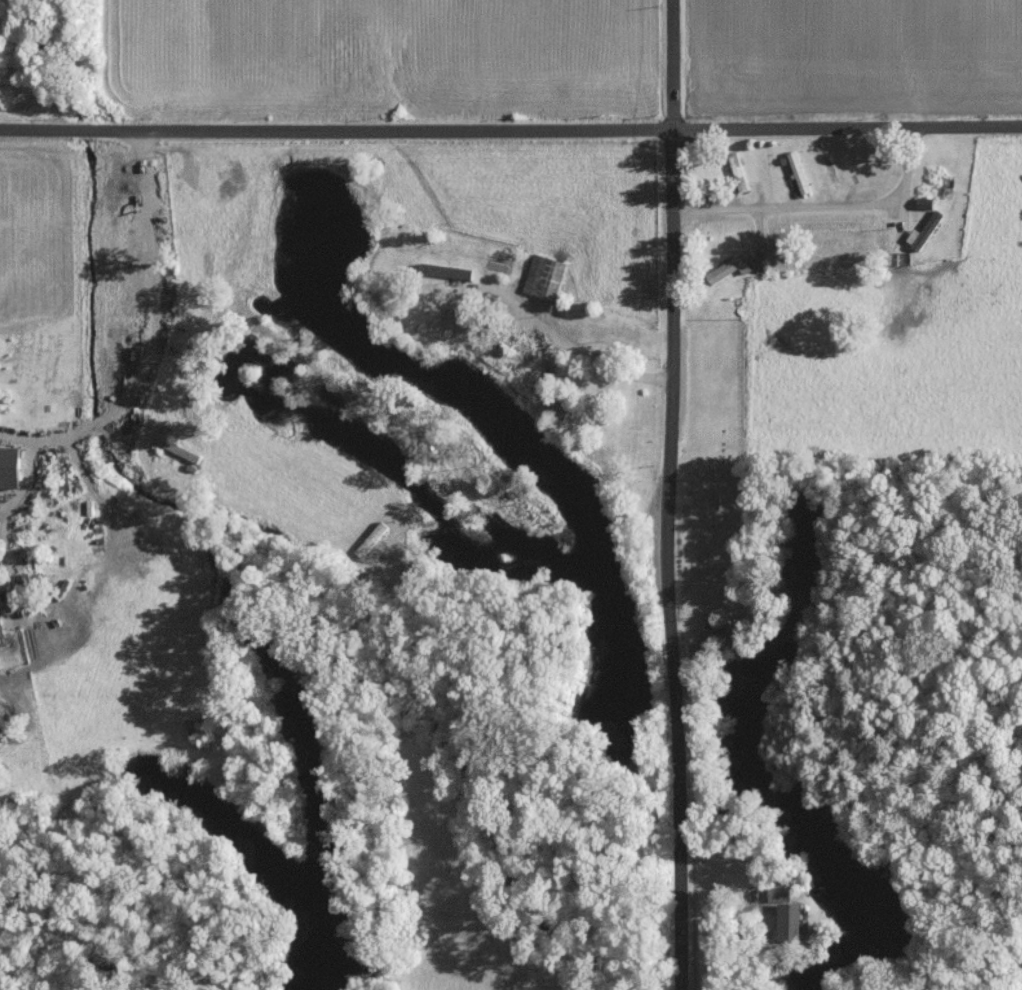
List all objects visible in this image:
road: (510, 124)
building: (799, 172)
road: (826, 209)
building: (923, 233)
building: (733, 266)
building: (446, 271)
building: (545, 277)
road: (150, 281)
road: (261, 409)
road: (97, 424)
road: (45, 437)
building: (10, 467)
road: (673, 494)
park: (710, 534)
building: (372, 539)
building: (0, 621)
building: (0, 646)
building: (778, 892)
building: (788, 921)
road: (759, 954)

